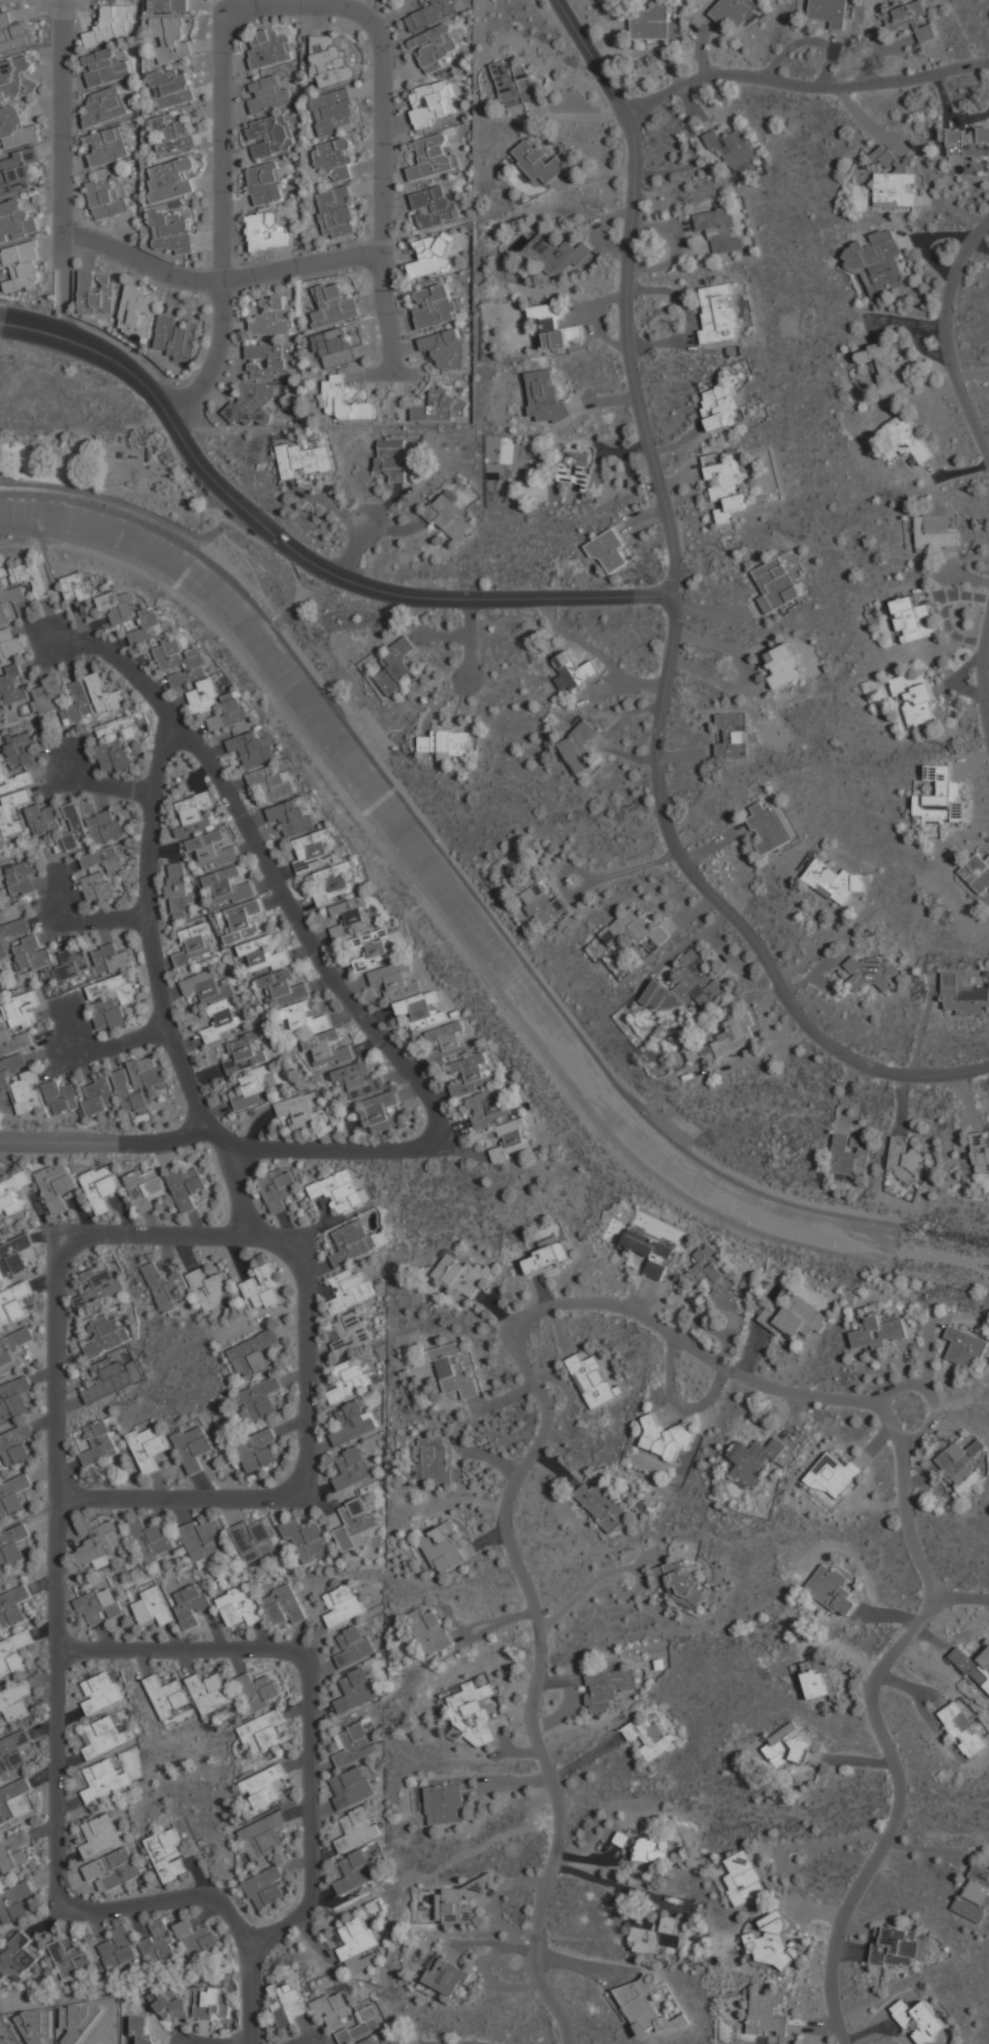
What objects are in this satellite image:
building: (169, 5)
building: (734, 11)
building: (829, 11)
building: (433, 12)
building: (910, 18)
building: (653, 22)
building: (112, 23)
building: (13, 32)
building: (171, 36)
building: (434, 46)
building: (270, 47)
building: (330, 59)
building: (105, 66)
building: (16, 76)
road: (221, 77)
building: (515, 79)
building: (171, 86)
road: (803, 86)
building: (269, 92)
building: (430, 101)
building: (105, 105)
building: (334, 109)
building: (16, 127)
building: (173, 132)
building: (271, 135)
building: (965, 142)
building: (107, 146)
building: (733, 147)
road: (62, 150)
building: (432, 156)
building: (335, 157)
building: (537, 161)
building: (17, 170)
building: (171, 178)
building: (894, 180)
building: (265, 182)
road: (381, 191)
building: (106, 197)
building: (434, 206)
building: (336, 211)
building: (16, 220)
building: (718, 229)
building: (172, 230)
building: (267, 230)
building: (558, 254)
building: (432, 256)
building: (879, 261)
building: (23, 267)
road: (217, 279)
building: (96, 292)
building: (333, 304)
building: (435, 305)
building: (138, 310)
building: (718, 313)
road: (63, 316)
building: (272, 316)
road: (17, 322)
building: (554, 325)
road: (947, 336)
building: (175, 337)
building: (334, 345)
building: (444, 347)
road: (212, 358)
building: (269, 360)
building: (885, 365)
road: (391, 374)
building: (545, 395)
building: (344, 400)
building: (251, 404)
building: (442, 406)
building: (721, 406)
building: (907, 438)
building: (153, 453)
building: (520, 453)
building: (393, 454)
building: (300, 459)
building: (580, 468)
park: (108, 473)
building: (726, 488)
road: (128, 503)
building: (448, 516)
building: (935, 533)
road: (356, 547)
building: (608, 550)
road: (307, 559)
building: (31, 577)
building: (776, 584)
building: (75, 587)
building: (9, 601)
building: (116, 606)
building: (914, 618)
road: (668, 625)
building: (150, 627)
building: (9, 642)
building: (168, 654)
road: (119, 660)
building: (783, 664)
building: (396, 665)
building: (189, 669)
building: (573, 671)
road: (983, 682)
building: (12, 683)
road: (986, 692)
building: (104, 693)
building: (48, 694)
building: (202, 696)
building: (914, 698)
building: (78, 703)
building: (228, 712)
building: (120, 727)
building: (731, 733)
building: (446, 742)
building: (20, 747)
building: (578, 747)
building: (251, 749)
building: (117, 754)
building: (13, 778)
road: (104, 780)
building: (271, 783)
building: (940, 794)
building: (12, 810)
building: (193, 812)
building: (43, 818)
building: (290, 818)
building: (105, 826)
building: (769, 826)
building: (73, 828)
building: (211, 849)
building: (311, 850)
building: (101, 872)
building: (977, 873)
building: (23, 876)
building: (834, 880)
building: (334, 883)
building: (228, 886)
building: (179, 890)
building: (2, 901)
building: (542, 904)
building: (21, 906)
building: (349, 911)
building: (244, 919)
road: (85, 920)
building: (634, 929)
building: (11, 933)
road: (147, 935)
building: (194, 943)
building: (30, 954)
building: (263, 954)
building: (110, 958)
building: (71, 963)
building: (872, 972)
building: (394, 980)
building: (690, 985)
building: (282, 987)
building: (963, 995)
building: (110, 1000)
building: (215, 1002)
building: (420, 1010)
building: (303, 1018)
building: (17, 1020)
road: (374, 1022)
building: (726, 1038)
building: (446, 1041)
road: (101, 1046)
building: (327, 1048)
building: (244, 1052)
building: (471, 1075)
building: (358, 1080)
building: (139, 1083)
building: (252, 1087)
building: (54, 1090)
building: (488, 1106)
building: (301, 1109)
building: (384, 1111)
building: (509, 1140)
road: (112, 1141)
building: (979, 1151)
building: (849, 1154)
building: (905, 1160)
building: (56, 1185)
building: (145, 1185)
building: (101, 1186)
building: (187, 1186)
road: (237, 1186)
building: (277, 1189)
building: (337, 1191)
building: (14, 1193)
building: (380, 1239)
building: (352, 1242)
building: (649, 1253)
building: (14, 1255)
building: (546, 1256)
building: (462, 1275)
building: (714, 1278)
building: (99, 1284)
building: (166, 1287)
building: (263, 1287)
building: (210, 1289)
building: (348, 1290)
building: (13, 1303)
building: (793, 1319)
building: (348, 1333)
building: (877, 1333)
building: (106, 1334)
building: (964, 1347)
building: (15, 1350)
building: (254, 1353)
road: (928, 1358)
building: (452, 1371)
building: (108, 1378)
building: (348, 1380)
building: (592, 1380)
road: (525, 1381)
building: (14, 1398)
building: (260, 1399)
building: (353, 1423)
building: (665, 1439)
building: (99, 1442)
building: (15, 1443)
building: (194, 1446)
building: (149, 1447)
building: (257, 1449)
building: (753, 1460)
road: (312, 1462)
building: (435, 1462)
building: (958, 1468)
building: (351, 1469)
building: (834, 1474)
building: (14, 1495)
building: (602, 1506)
building: (354, 1525)
building: (306, 1539)
building: (151, 1540)
building: (201, 1540)
building: (253, 1540)
building: (98, 1542)
building: (12, 1545)
building: (442, 1548)
building: (678, 1583)
building: (832, 1589)
building: (190, 1605)
building: (342, 1605)
building: (13, 1606)
building: (98, 1606)
building: (151, 1607)
building: (238, 1607)
building: (283, 1607)
building: (429, 1630)
road: (59, 1634)
building: (353, 1647)
building: (13, 1652)
building: (974, 1666)
building: (819, 1679)
building: (608, 1687)
building: (259, 1690)
road: (308, 1690)
building: (356, 1690)
building: (101, 1691)
building: (209, 1692)
building: (168, 1695)
building: (14, 1700)
building: (492, 1708)
building: (475, 1709)
building: (963, 1729)
building: (263, 1731)
building: (105, 1735)
building: (651, 1737)
building: (353, 1745)
building: (787, 1745)
building: (14, 1750)
building: (104, 1779)
building: (263, 1786)
building: (350, 1788)
road: (894, 1794)
building: (14, 1799)
building: (444, 1805)
building: (356, 1830)
building: (102, 1833)
building: (263, 1836)
building: (621, 1839)
road: (803, 1844)
building: (653, 1849)
building: (14, 1851)
building: (168, 1854)
building: (118, 1867)
building: (354, 1872)
building: (743, 1878)
road: (613, 1885)
building: (265, 1886)
building: (975, 1894)
building: (460, 1901)
building: (14, 1902)
building: (655, 1933)
building: (197, 1938)
building: (158, 1943)
building: (772, 1944)
building: (356, 1945)
building: (895, 1946)
building: (119, 1948)
building: (70, 1957)
building: (16, 1958)
road: (586, 1966)
building: (445, 1976)
building: (210, 2001)
building: (284, 2002)
building: (173, 2004)
building: (647, 2005)
building: (332, 2009)
building: (767, 2014)
building: (919, 2020)
building: (361, 2025)
building: (142, 2031)
road: (311, 2039)
building: (367, 2041)
road: (441, 2042)

